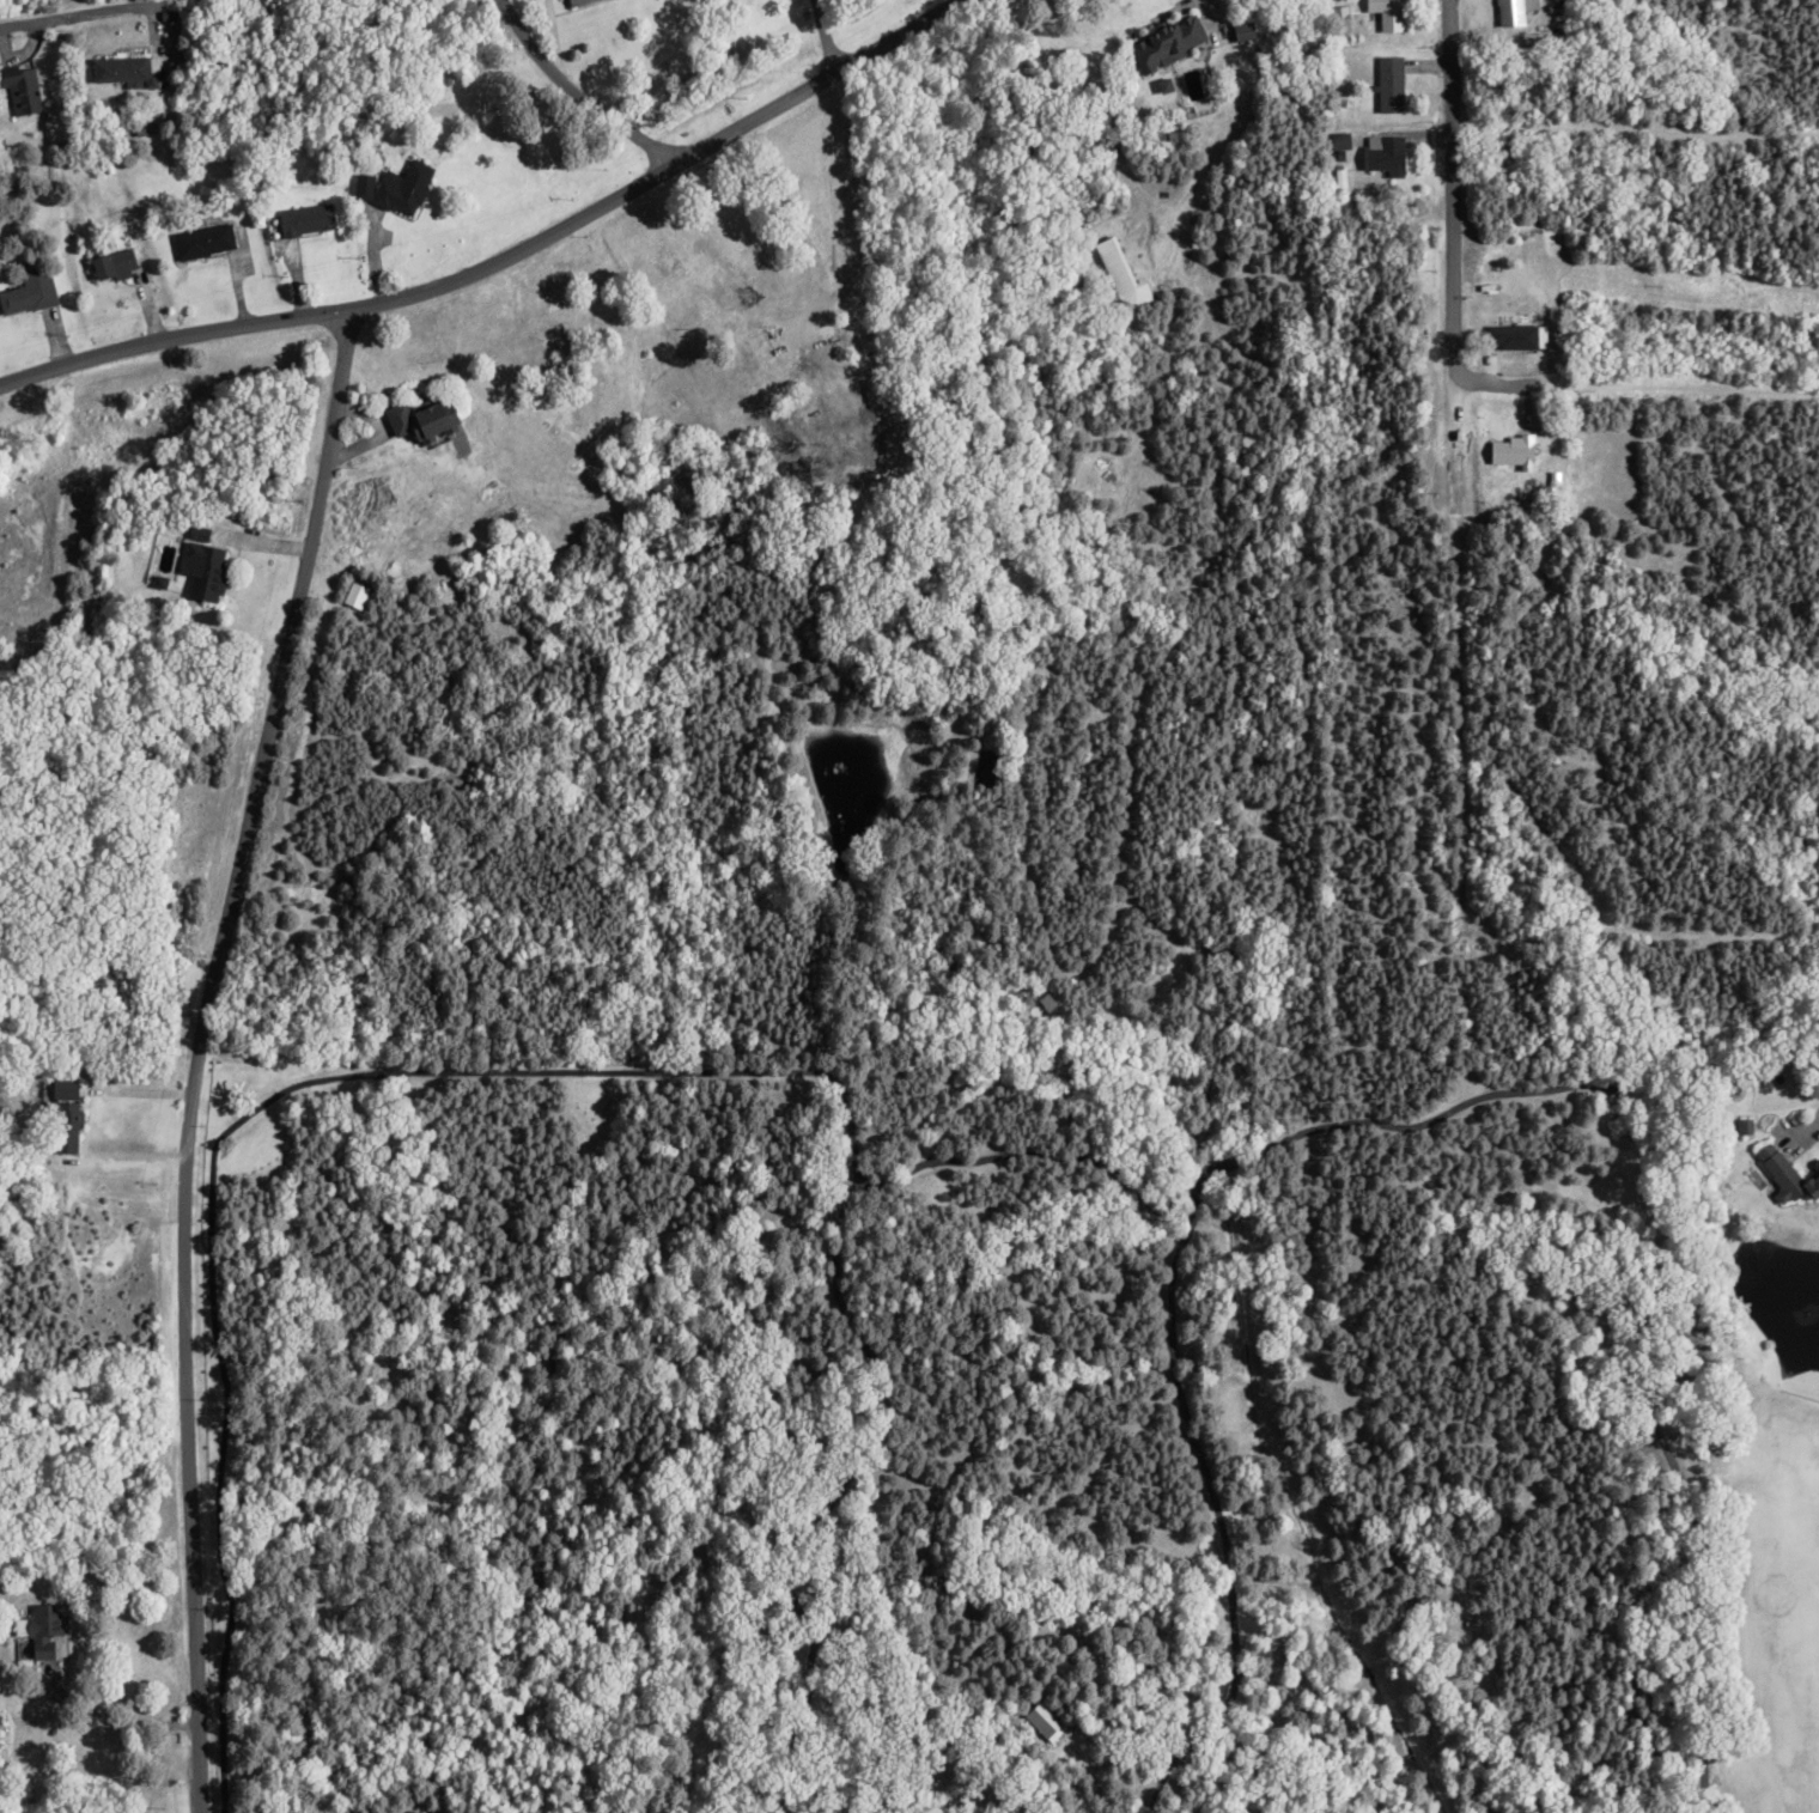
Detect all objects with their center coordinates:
building: (573, 1)
building: (1510, 11)
building: (1385, 13)
road: (86, 17)
building: (1240, 30)
road: (826, 38)
building: (1166, 41)
building: (123, 69)
building: (1387, 83)
road: (596, 90)
building: (19, 91)
building: (1381, 153)
building: (360, 185)
building: (400, 188)
building: (303, 219)
building: (201, 241)
building: (111, 264)
road: (509, 267)
building: (1114, 270)
building: (749, 280)
building: (28, 292)
building: (1509, 336)
road: (1531, 383)
building: (416, 418)
building: (1508, 451)
road: (1464, 488)
building: (202, 565)
road: (207, 1055)
building: (61, 1113)
building: (1785, 1175)
building: (39, 1623)
building: (1042, 1720)

